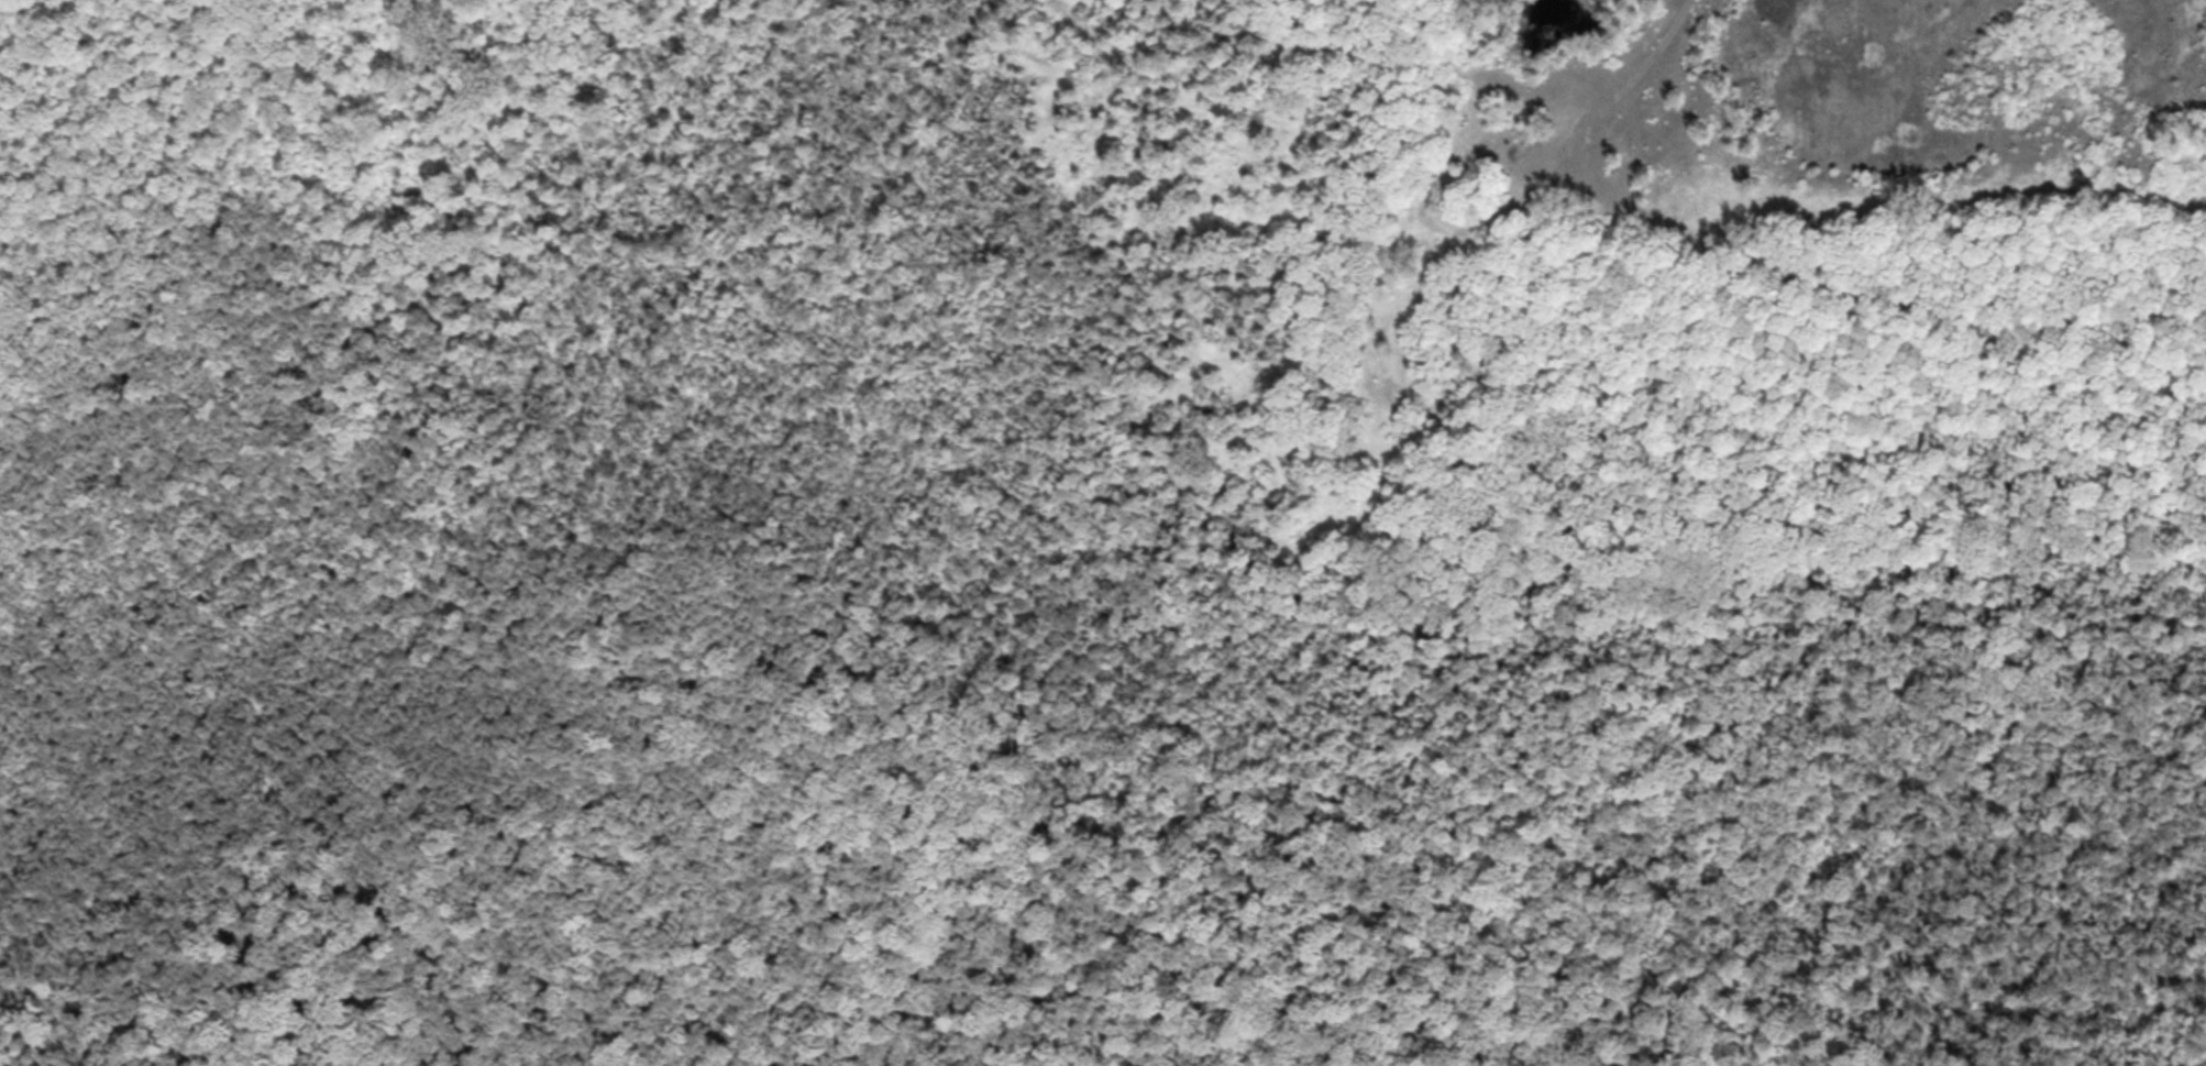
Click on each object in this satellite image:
road: (2100, 531)

